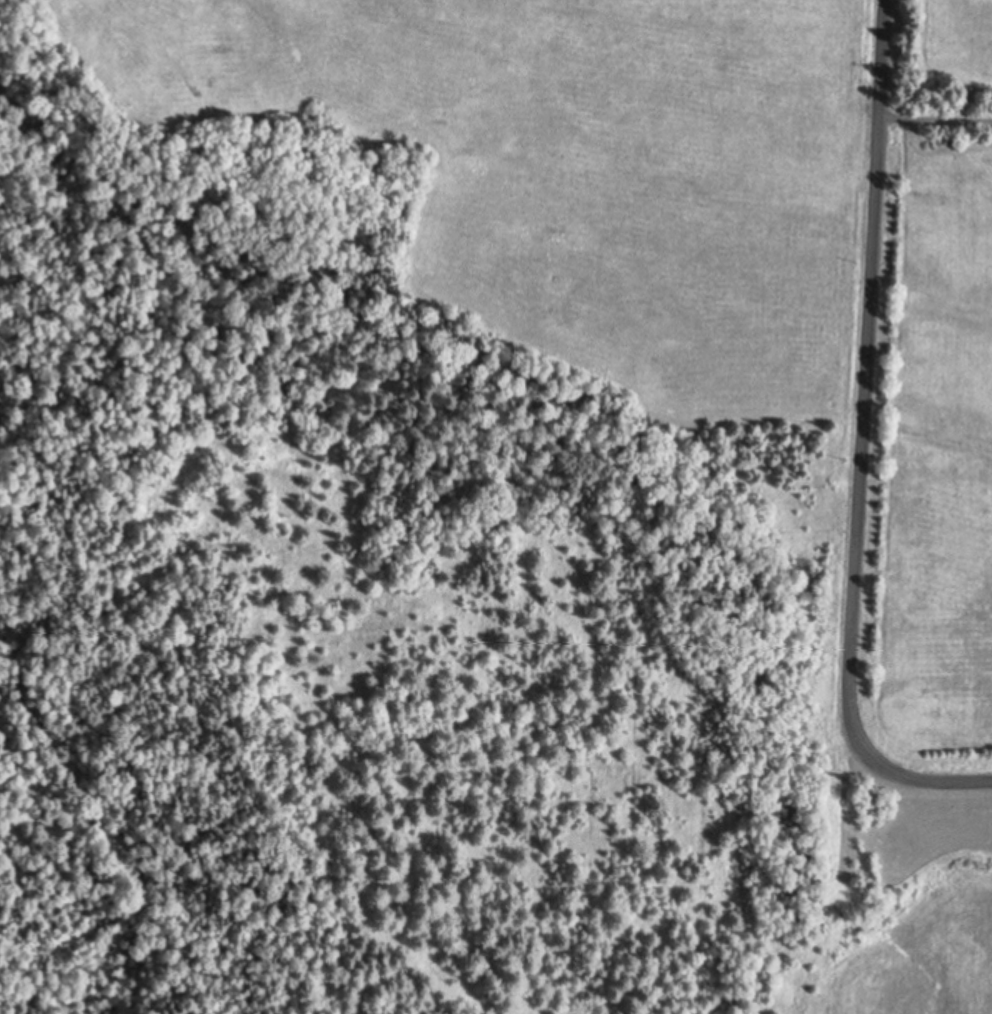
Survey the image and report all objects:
road: (936, 117)
road: (861, 445)

